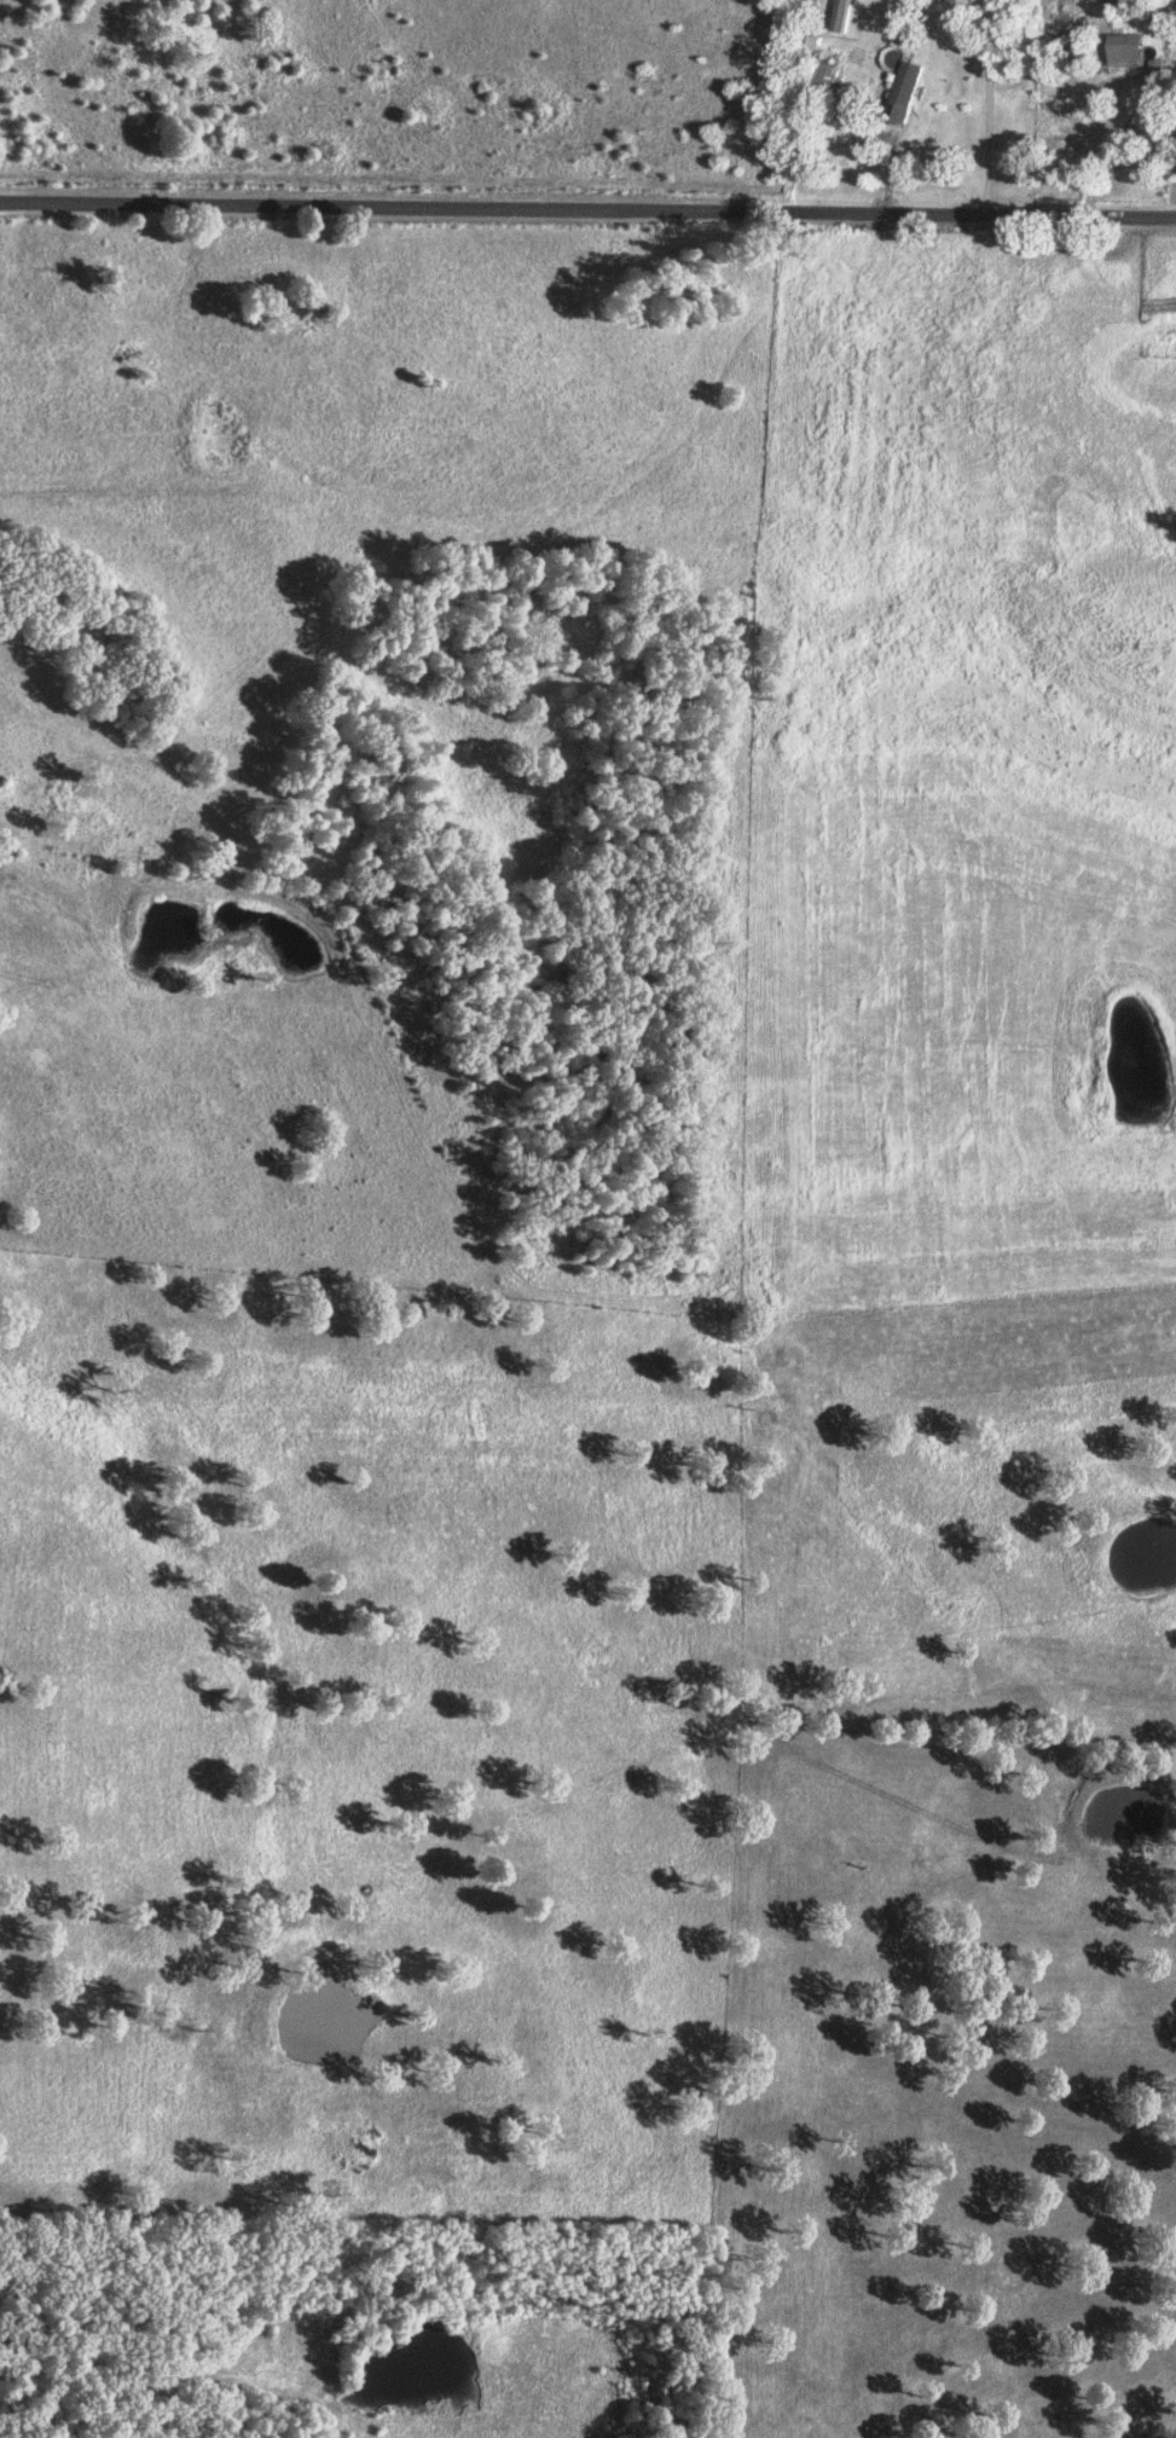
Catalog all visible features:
building: (834, 21)
building: (1122, 47)
building: (828, 75)
building: (909, 94)
road: (985, 108)
road: (1111, 140)
road: (587, 212)

